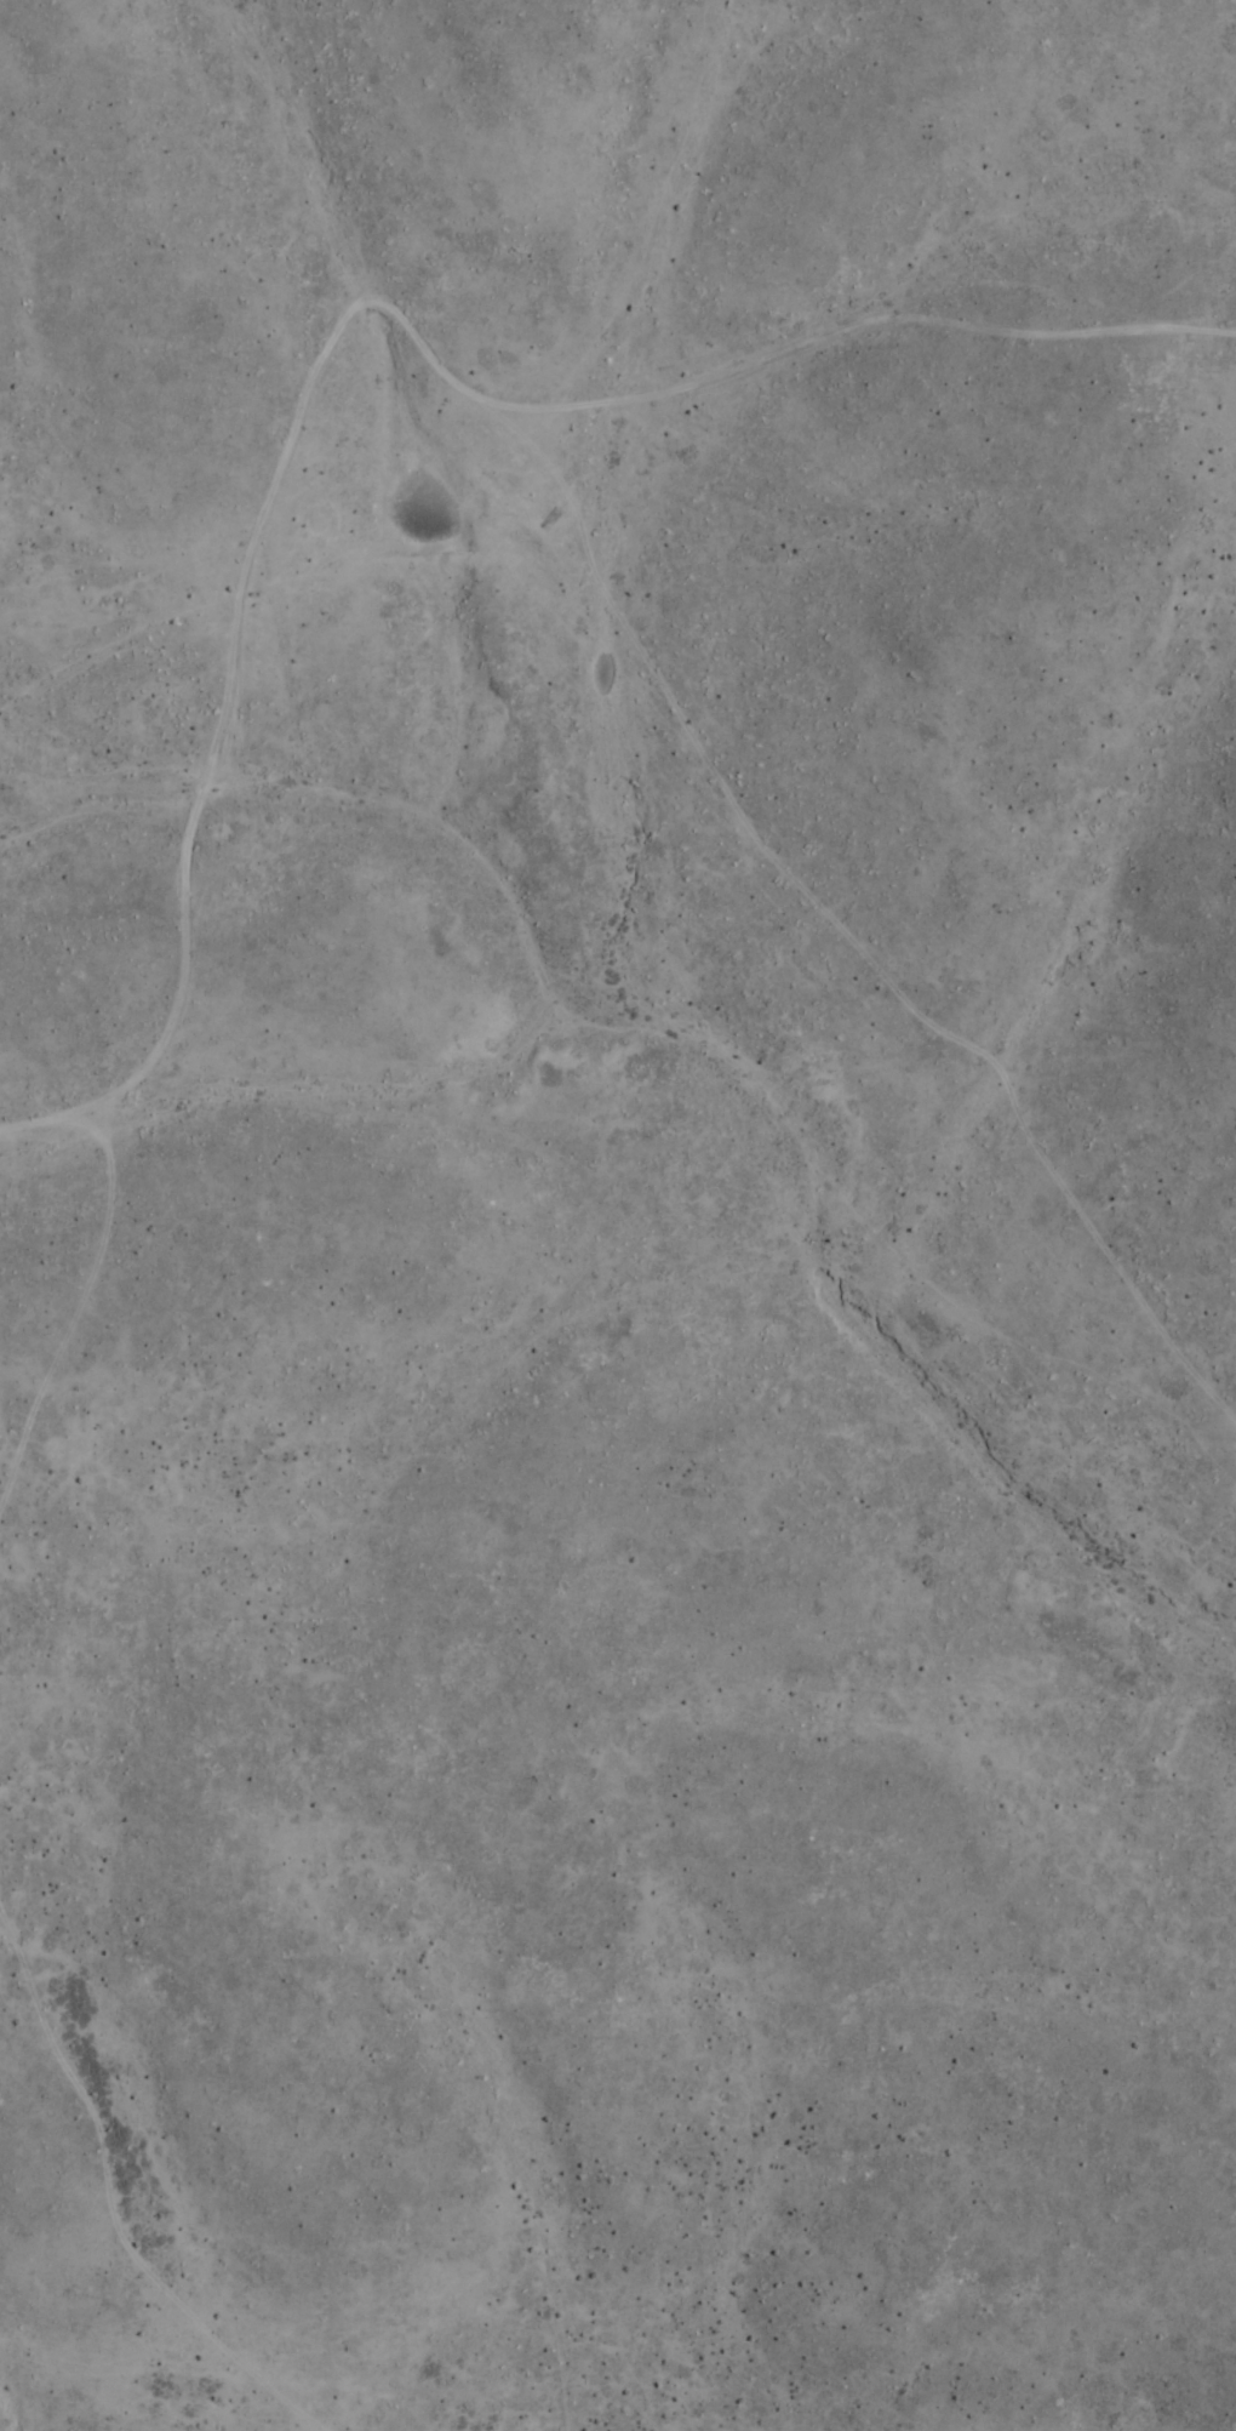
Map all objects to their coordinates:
road: (247, 841)
road: (50, 1118)
road: (1094, 1228)

